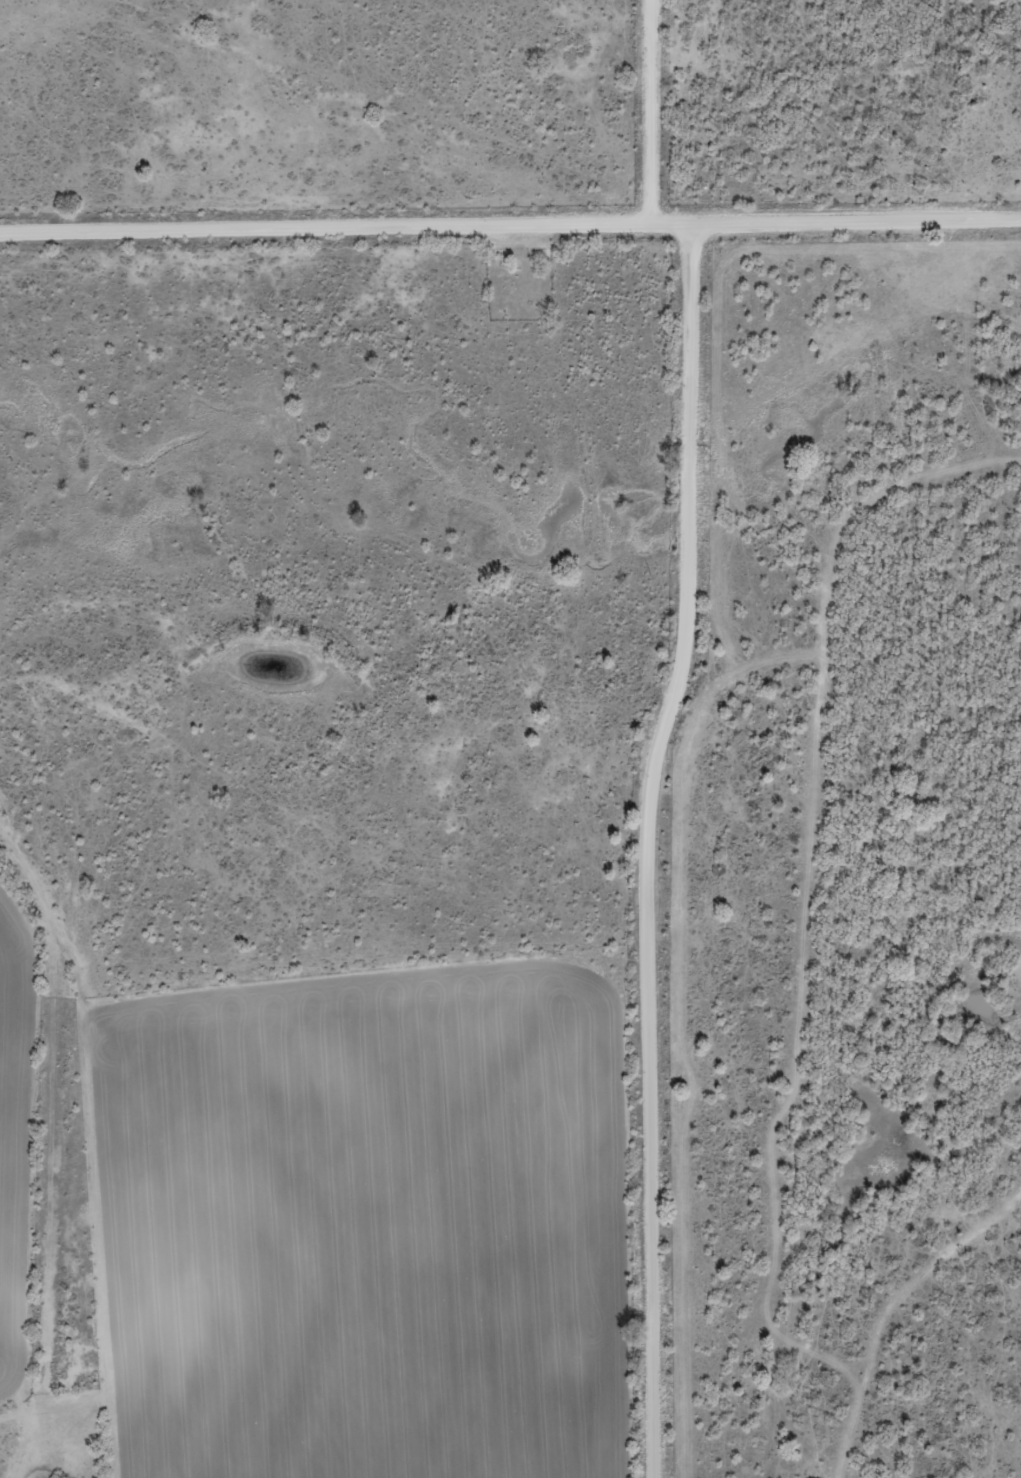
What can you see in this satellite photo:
road: (651, 61)
road: (510, 229)
park: (521, 286)
road: (633, 733)
road: (57, 1142)

